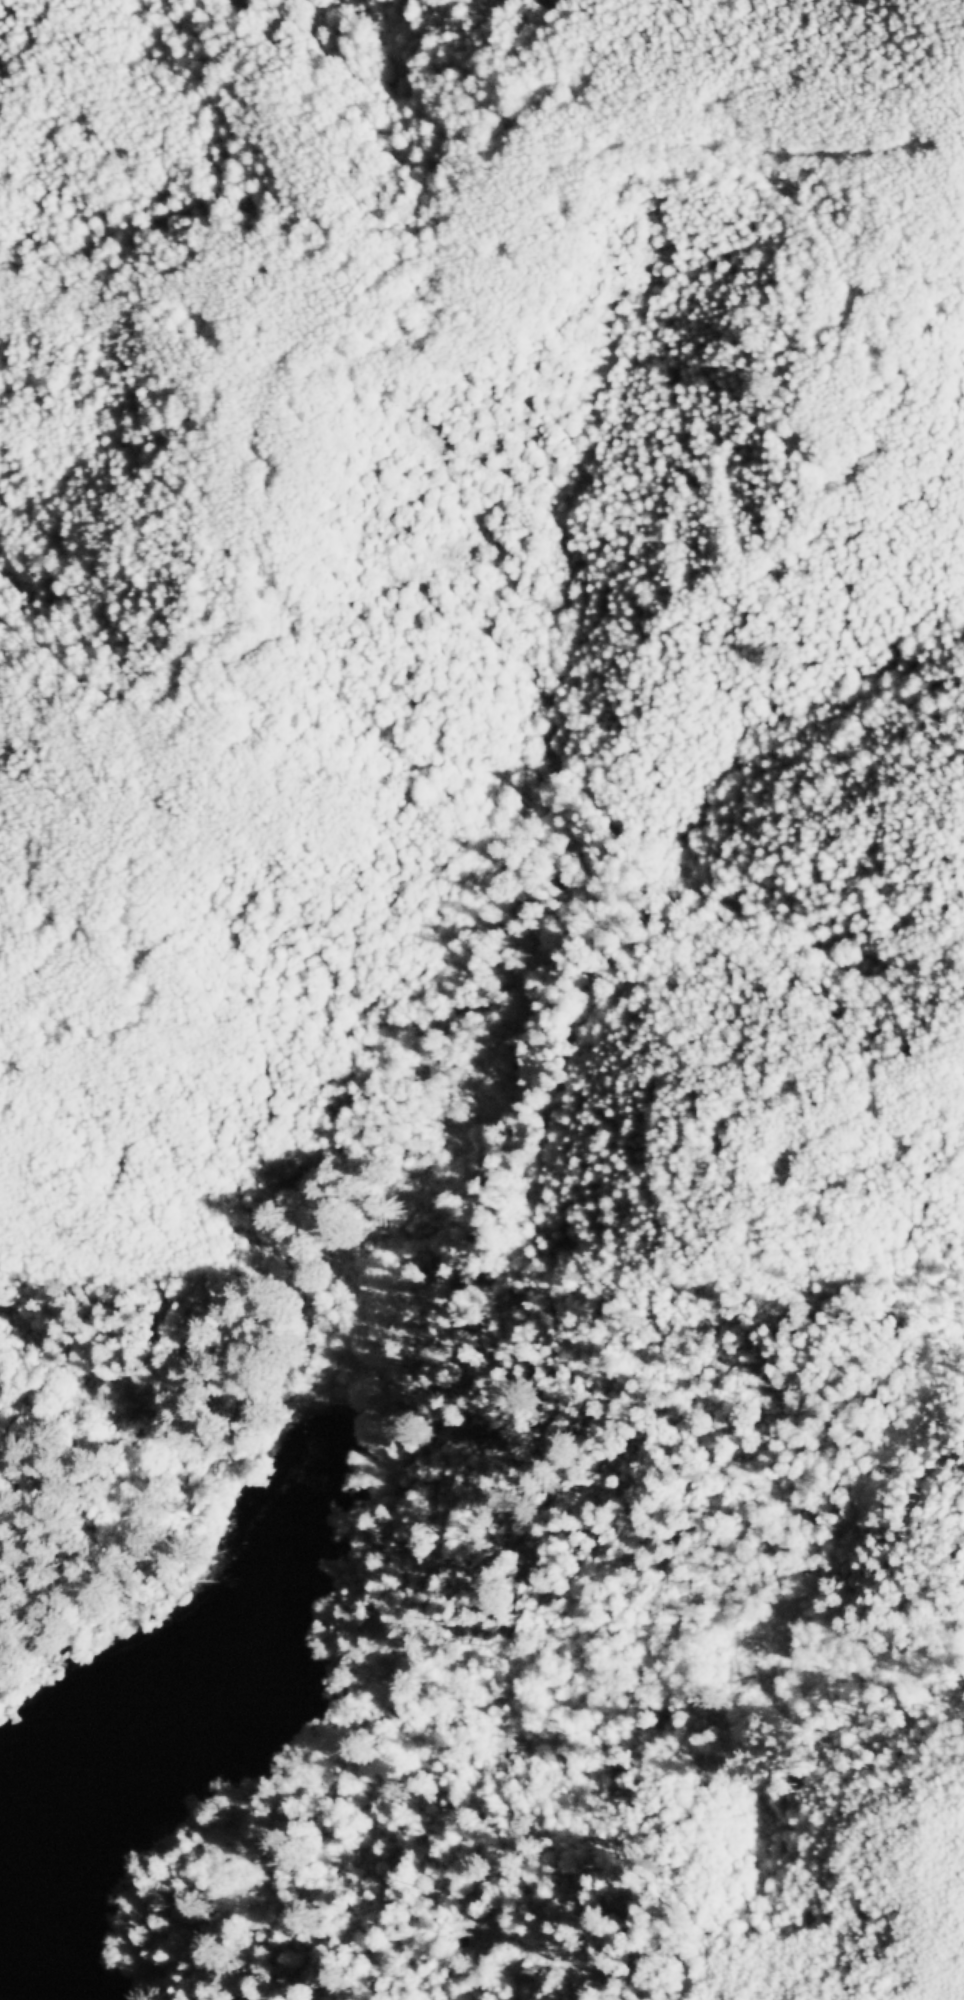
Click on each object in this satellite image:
road: (419, 1334)

